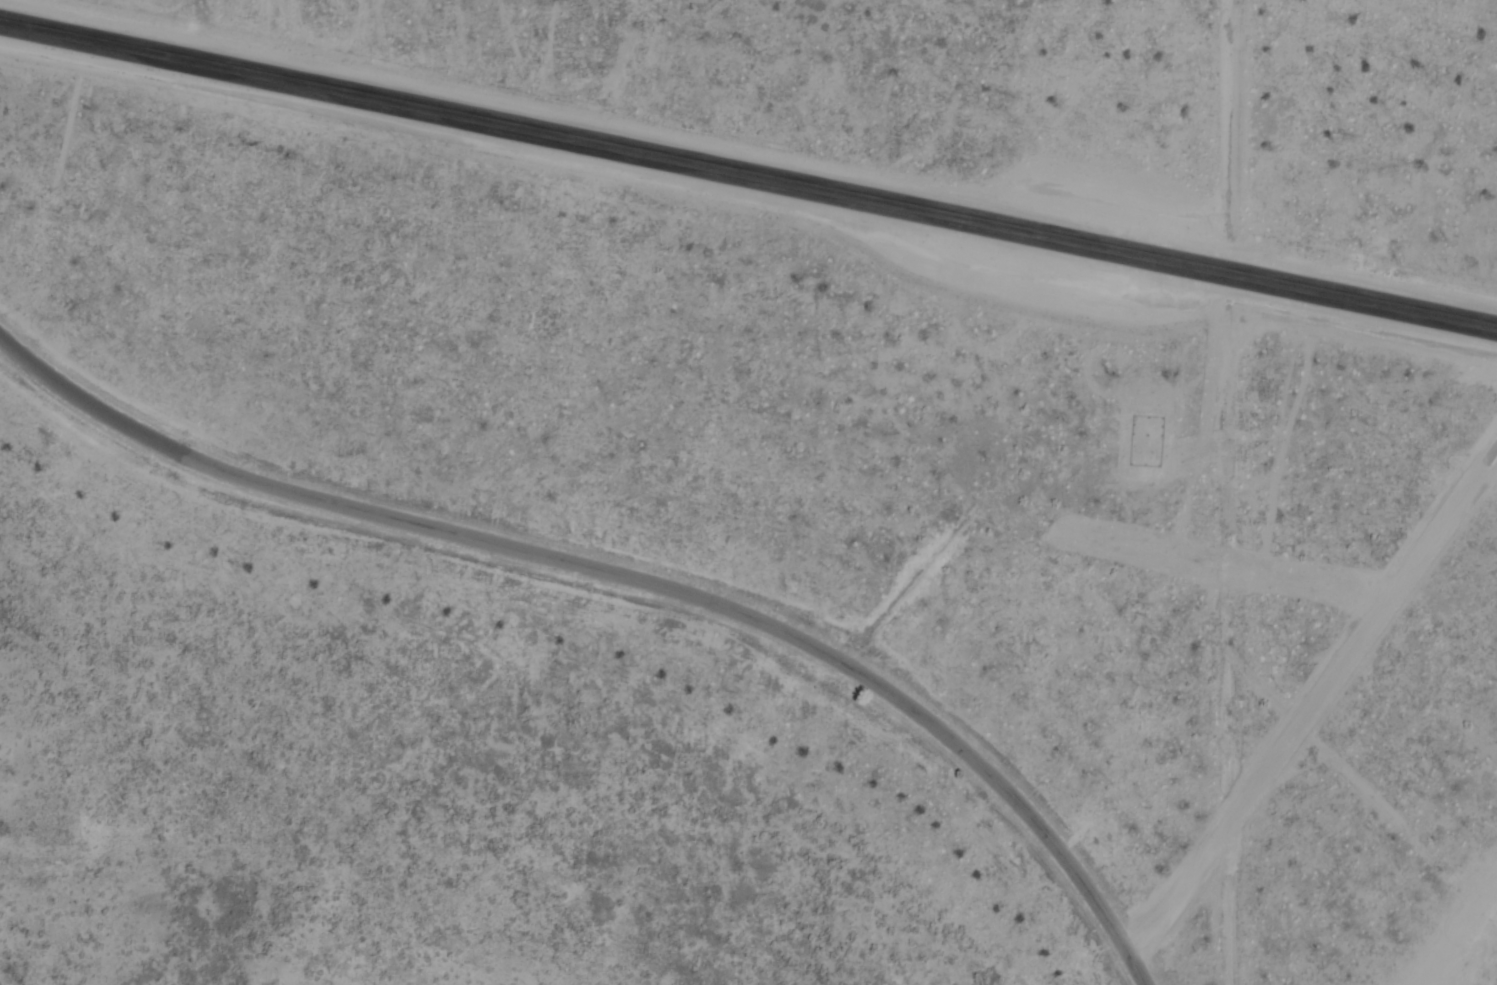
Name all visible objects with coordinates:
road: (1227, 492)
road: (627, 577)

